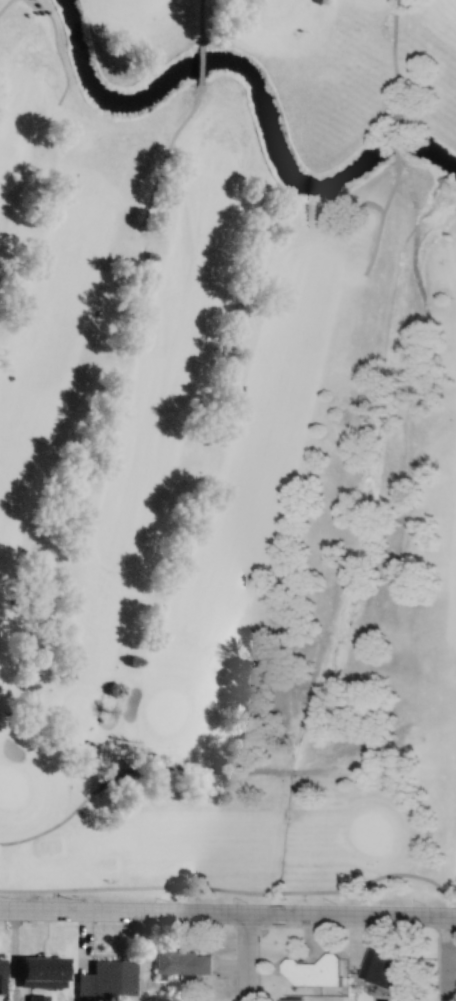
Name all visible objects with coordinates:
road: (4, 4)
road: (207, 20)
road: (62, 49)
road: (206, 59)
road: (397, 61)
road: (190, 112)
road: (403, 139)
road: (387, 212)
park: (228, 450)
road: (101, 708)
road: (154, 761)
road: (231, 887)
road: (227, 917)
road: (238, 959)
road: (448, 959)
building: (184, 963)
building: (2, 969)
building: (42, 972)
building: (313, 972)
building: (108, 980)
building: (37, 998)

